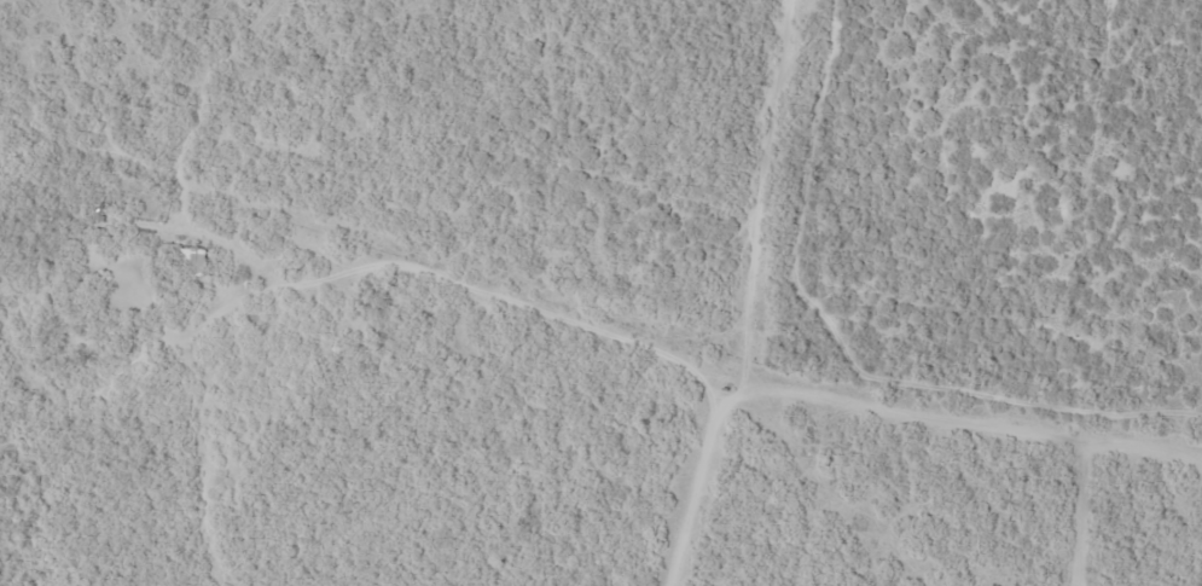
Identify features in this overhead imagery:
building: (191, 262)
road: (172, 456)

